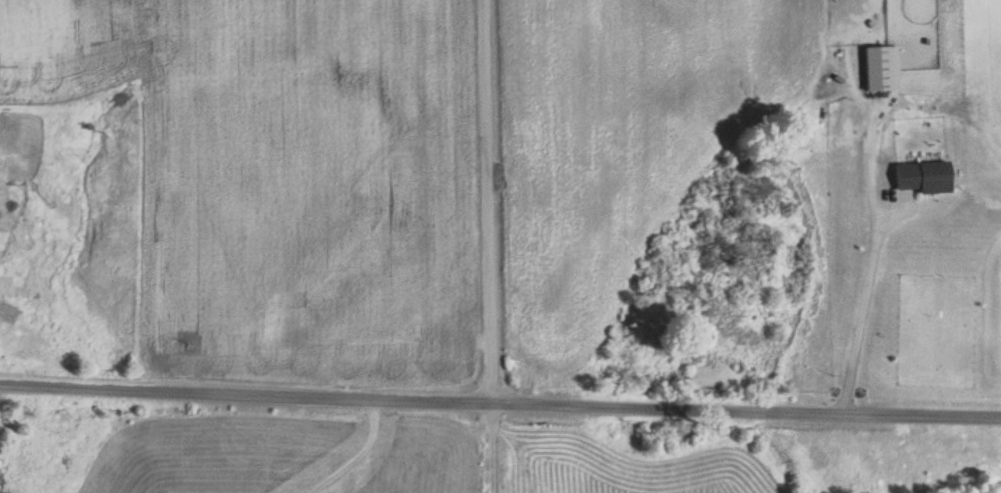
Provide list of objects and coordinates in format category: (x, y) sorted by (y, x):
building: (925, 177)
road: (484, 246)
road: (500, 406)

